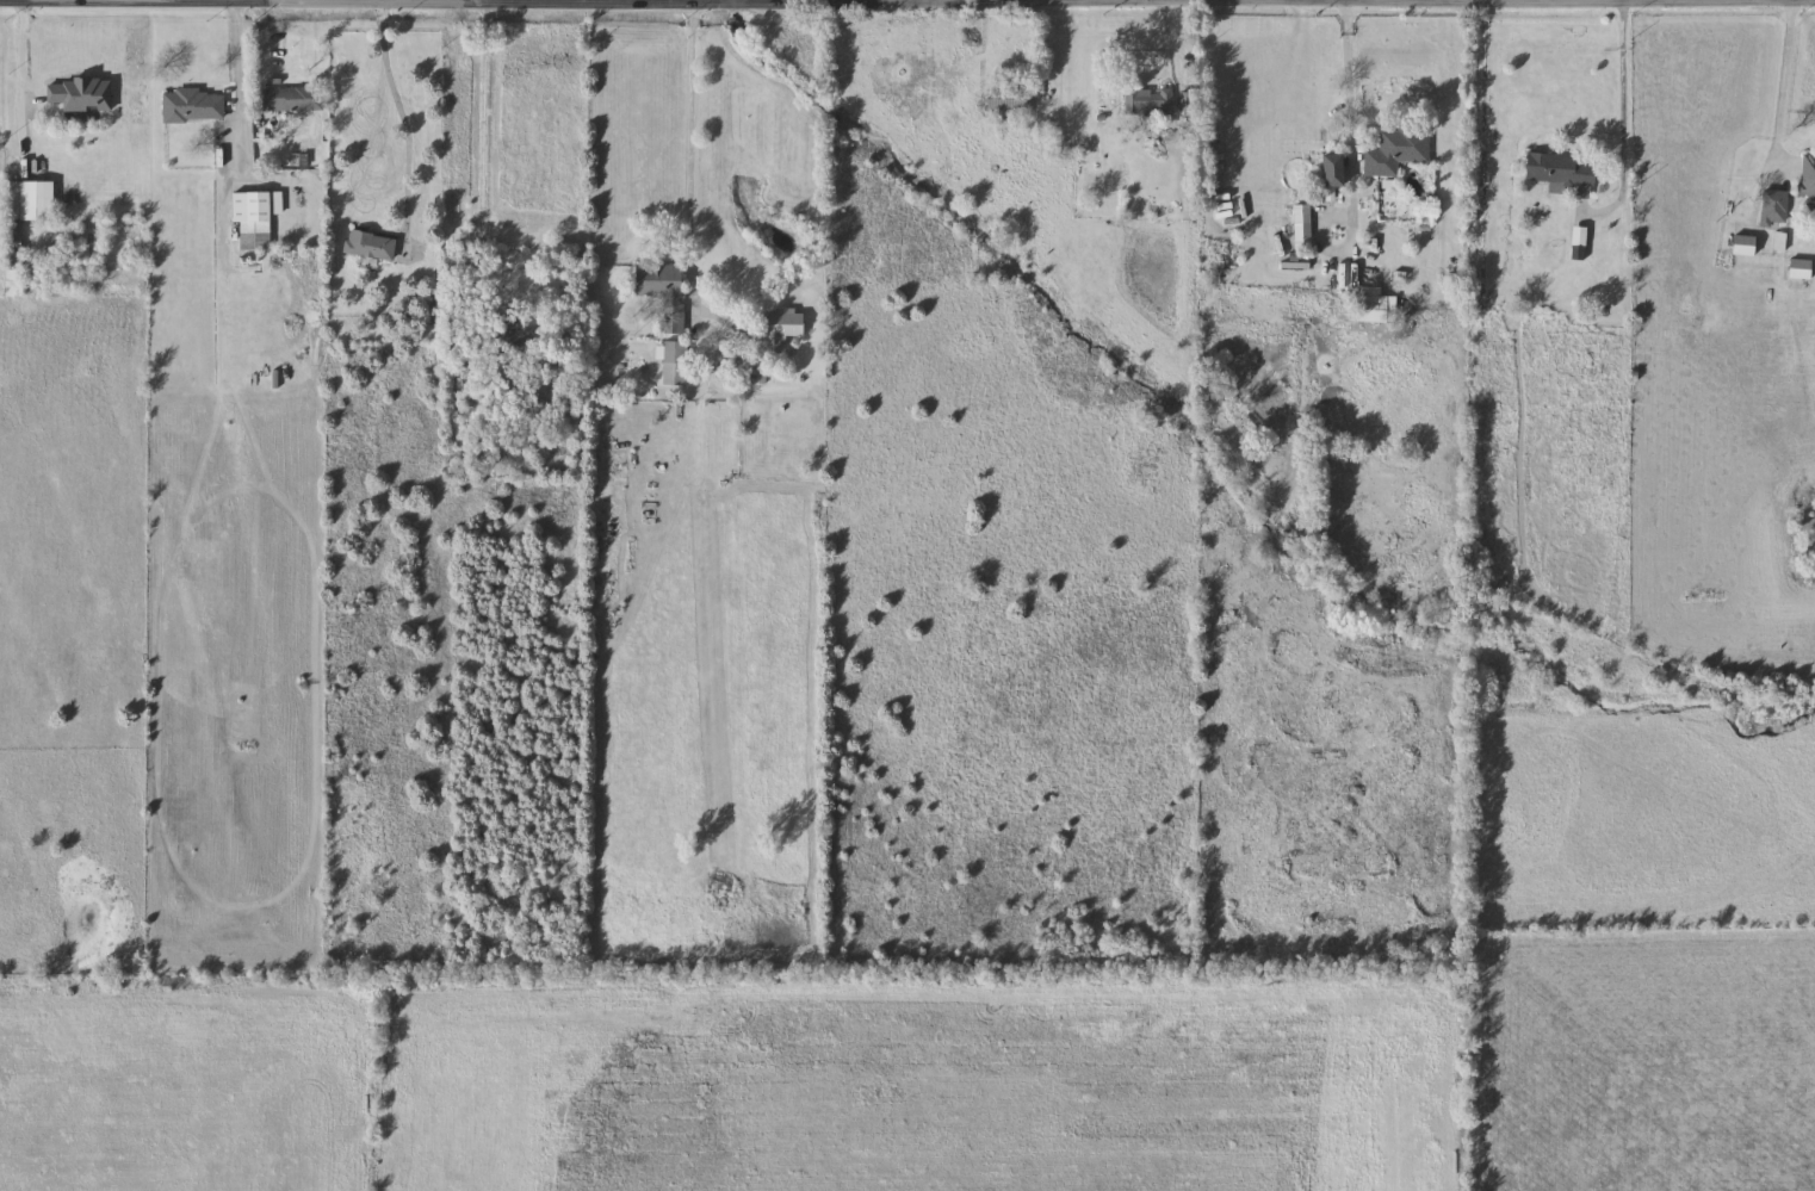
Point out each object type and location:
road: (254, 0)
road: (1805, 0)
road: (409, 1)
road: (896, 1)
road: (603, 4)
road: (255, 38)
road: (1171, 54)
road: (1063, 60)
road: (234, 69)
road: (1348, 83)
road: (27, 87)
road: (1783, 89)
building: (72, 99)
building: (295, 99)
building: (1009, 103)
building: (1150, 103)
building: (194, 107)
road: (388, 117)
road: (1622, 131)
road: (484, 151)
building: (1398, 151)
building: (1337, 170)
building: (1560, 170)
building: (1807, 178)
road: (690, 180)
building: (1773, 207)
building: (254, 223)
building: (1305, 228)
building: (372, 246)
building: (1742, 246)
building: (14, 260)
building: (1799, 269)
building: (665, 292)
building: (1374, 305)
road: (726, 328)
building: (785, 328)
building: (676, 364)

